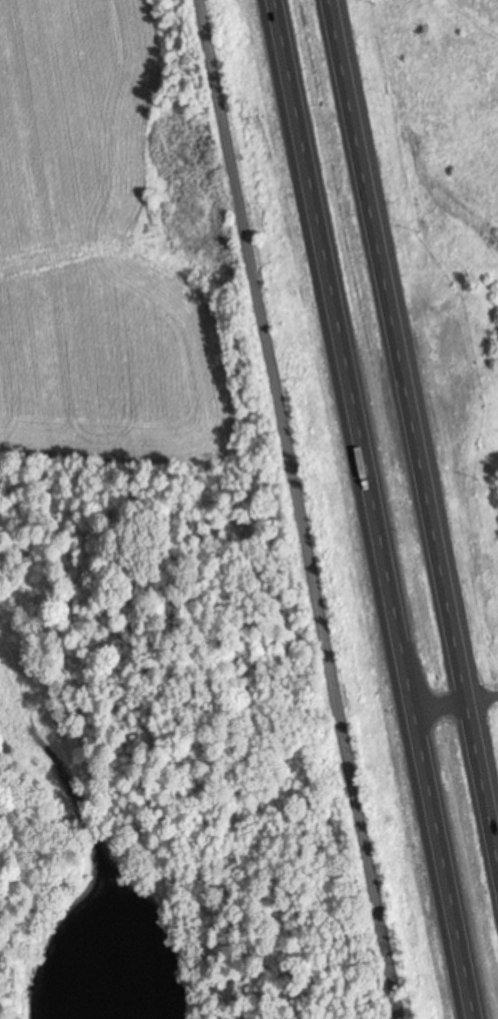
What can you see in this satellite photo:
road: (413, 433)
road: (302, 509)
road: (371, 509)

